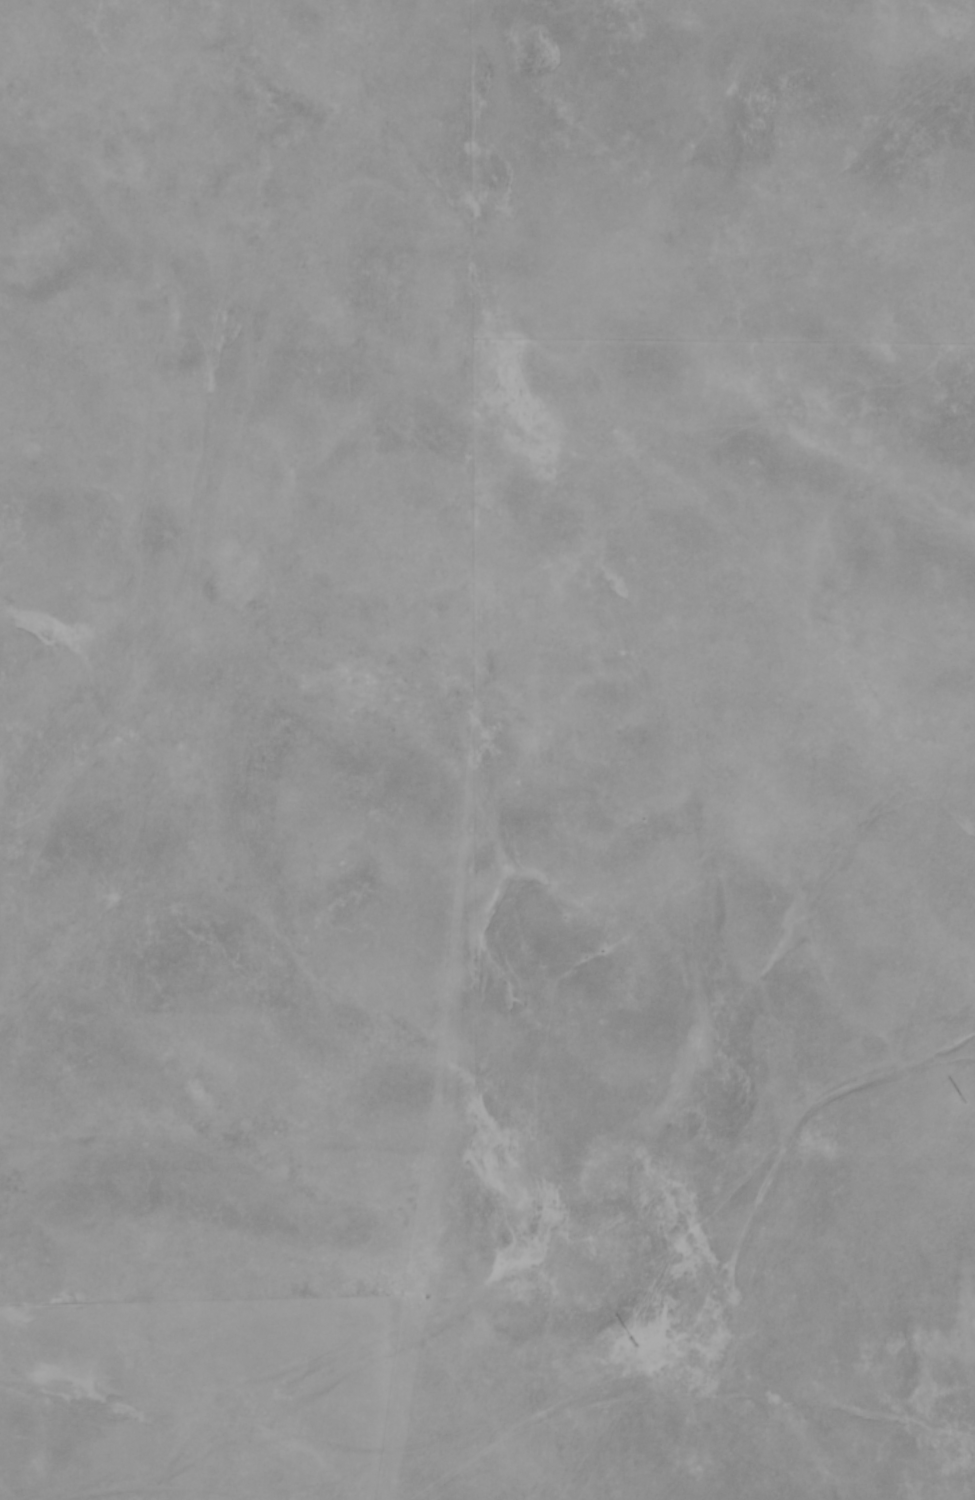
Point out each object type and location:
power tower: (963, 1098)
power tower: (635, 1341)

